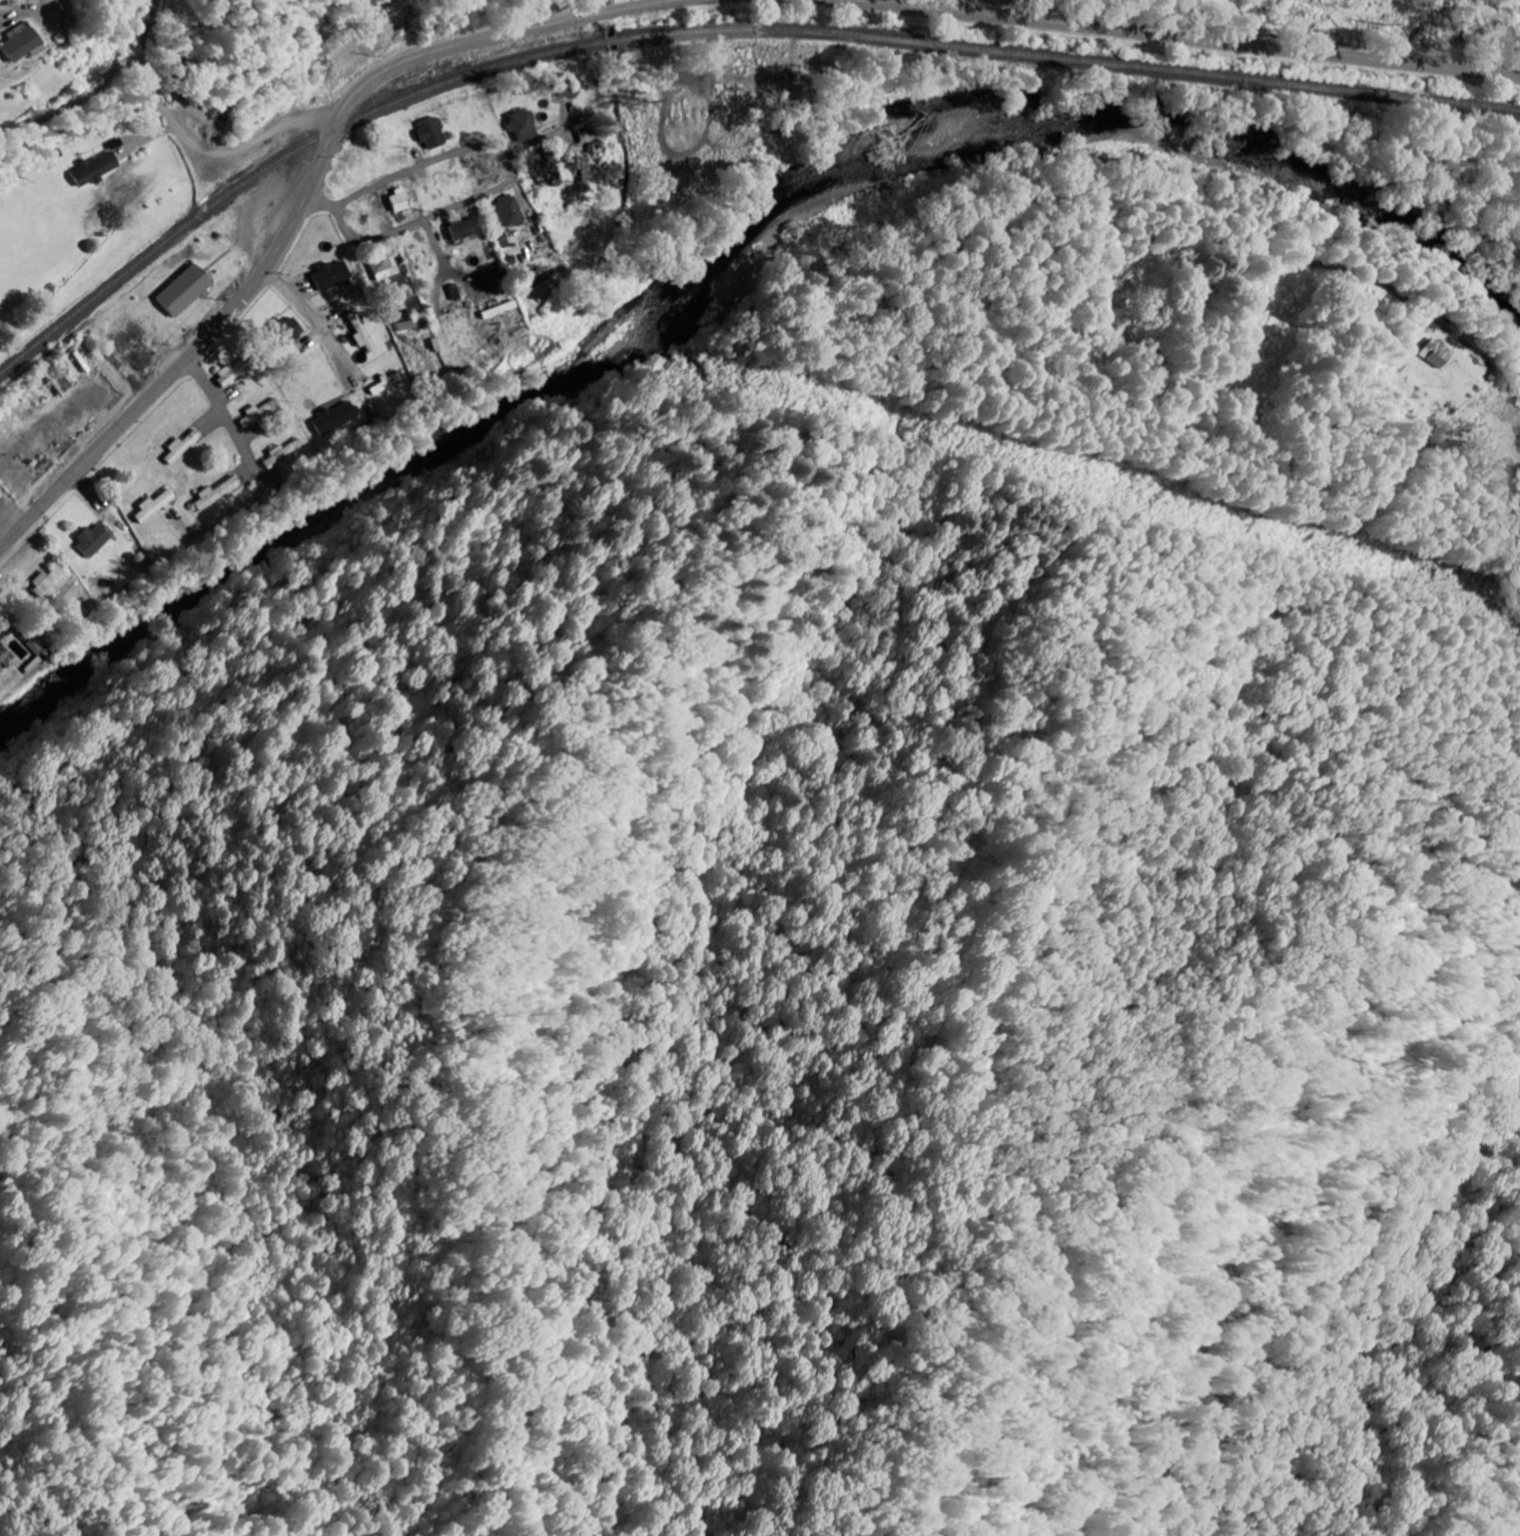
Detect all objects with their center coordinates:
railway: (713, 31)
road: (1186, 38)
building: (20, 43)
building: (564, 87)
road: (175, 119)
building: (522, 122)
building: (432, 132)
road: (541, 140)
road: (489, 145)
building: (581, 163)
building: (97, 169)
building: (401, 202)
road: (305, 203)
building: (509, 210)
building: (465, 229)
road: (352, 234)
building: (383, 263)
river: (732, 264)
building: (331, 276)
road: (1363, 278)
building: (185, 290)
building: (412, 305)
building: (286, 331)
building: (362, 332)
building: (1430, 353)
building: (232, 374)
building: (60, 378)
building: (389, 381)
building: (336, 417)
building: (183, 446)
building: (284, 452)
building: (215, 493)
building: (2, 500)
building: (154, 506)
building: (92, 539)
building: (50, 582)
building: (19, 653)

